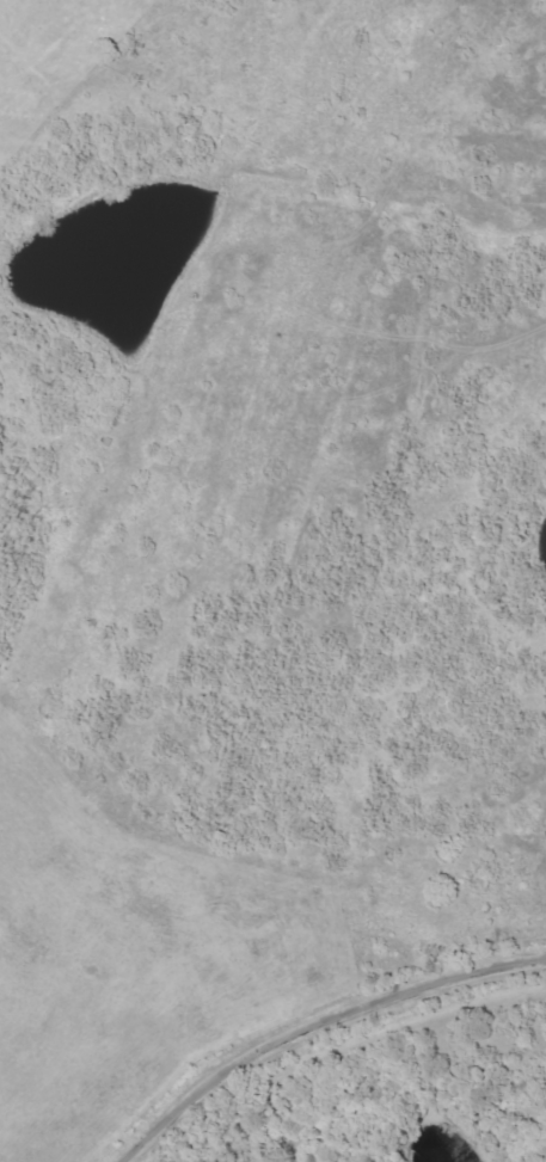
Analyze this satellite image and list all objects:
road: (321, 1037)

